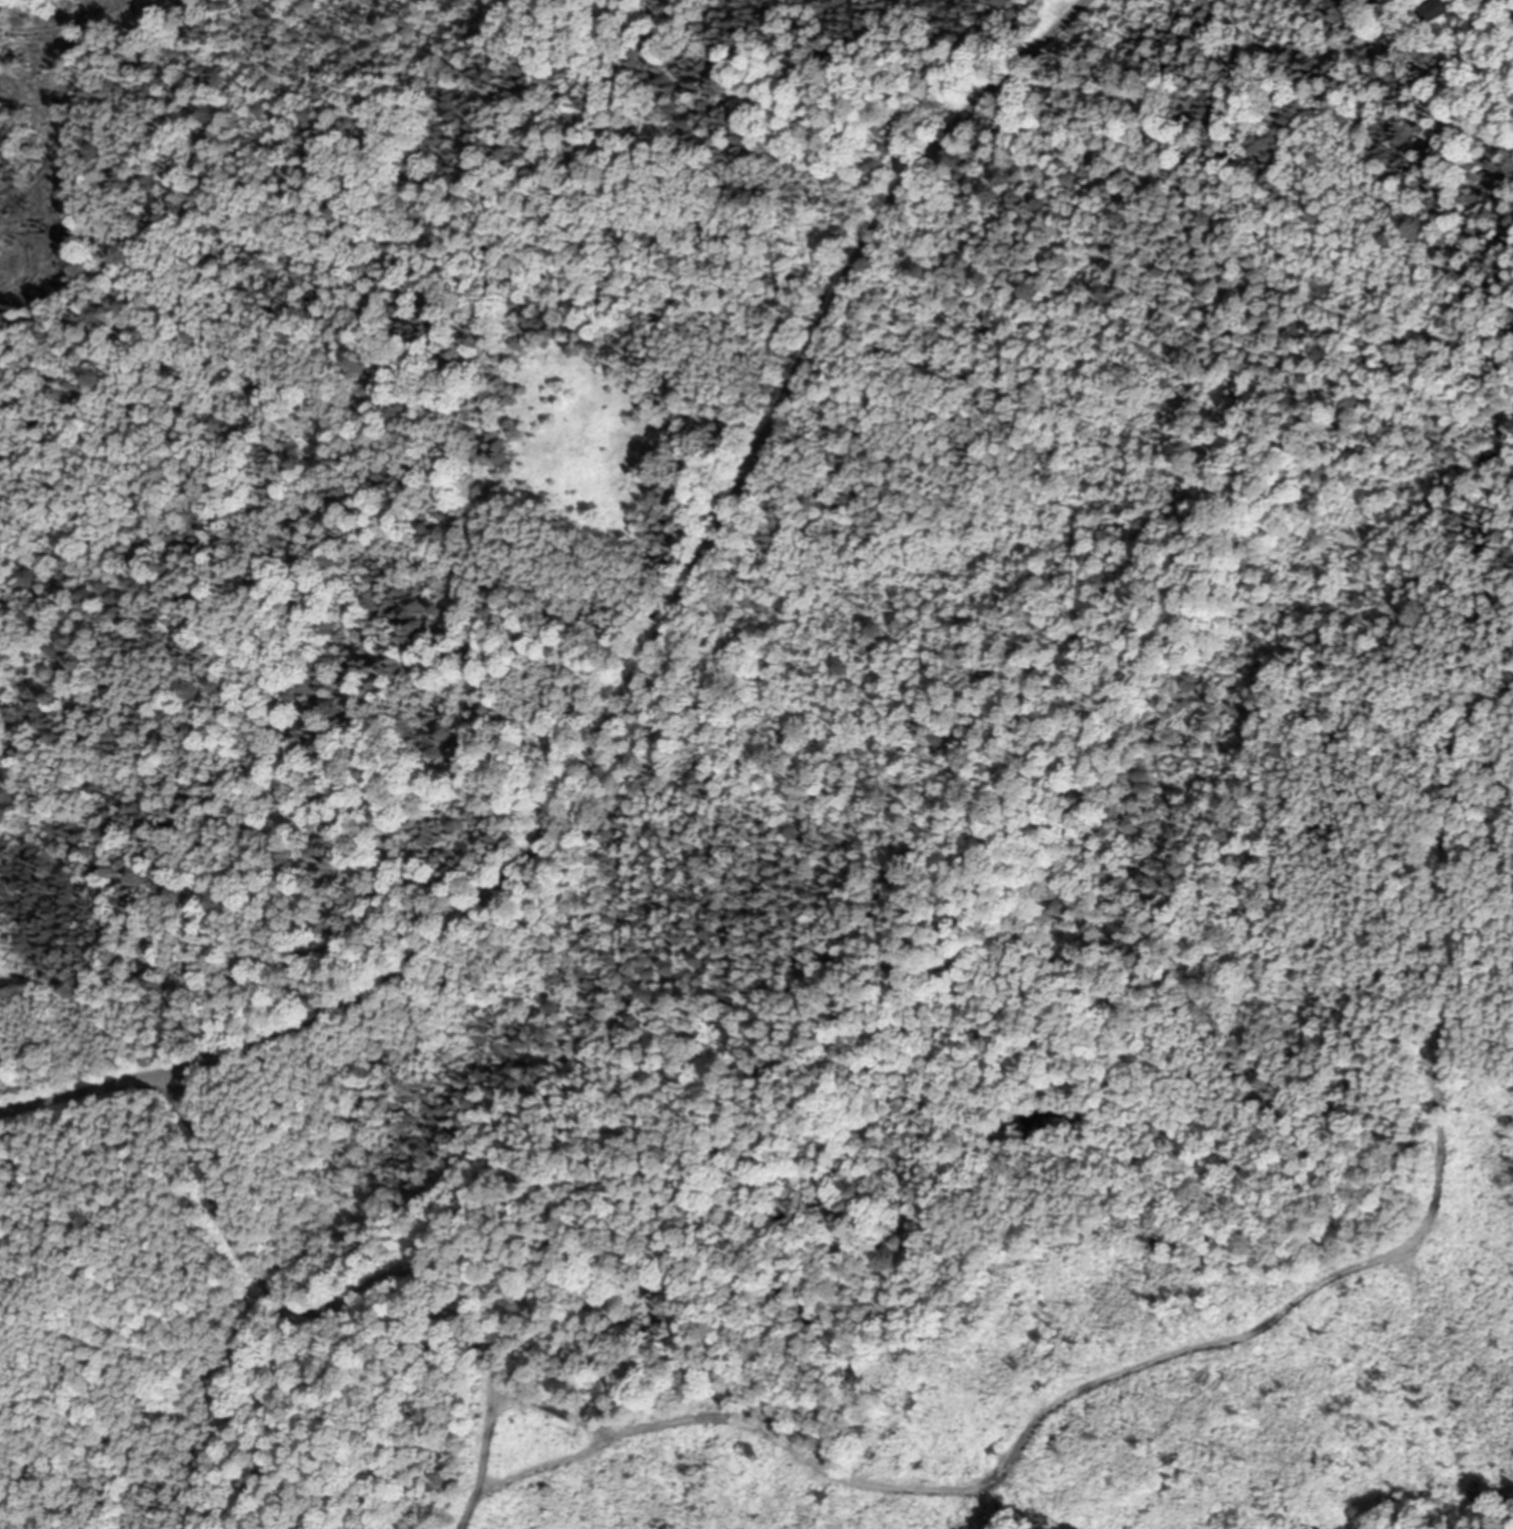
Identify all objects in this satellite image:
building: (1440, 10)
road: (642, 673)
road: (487, 1438)
road: (1018, 1444)
road: (536, 1470)

